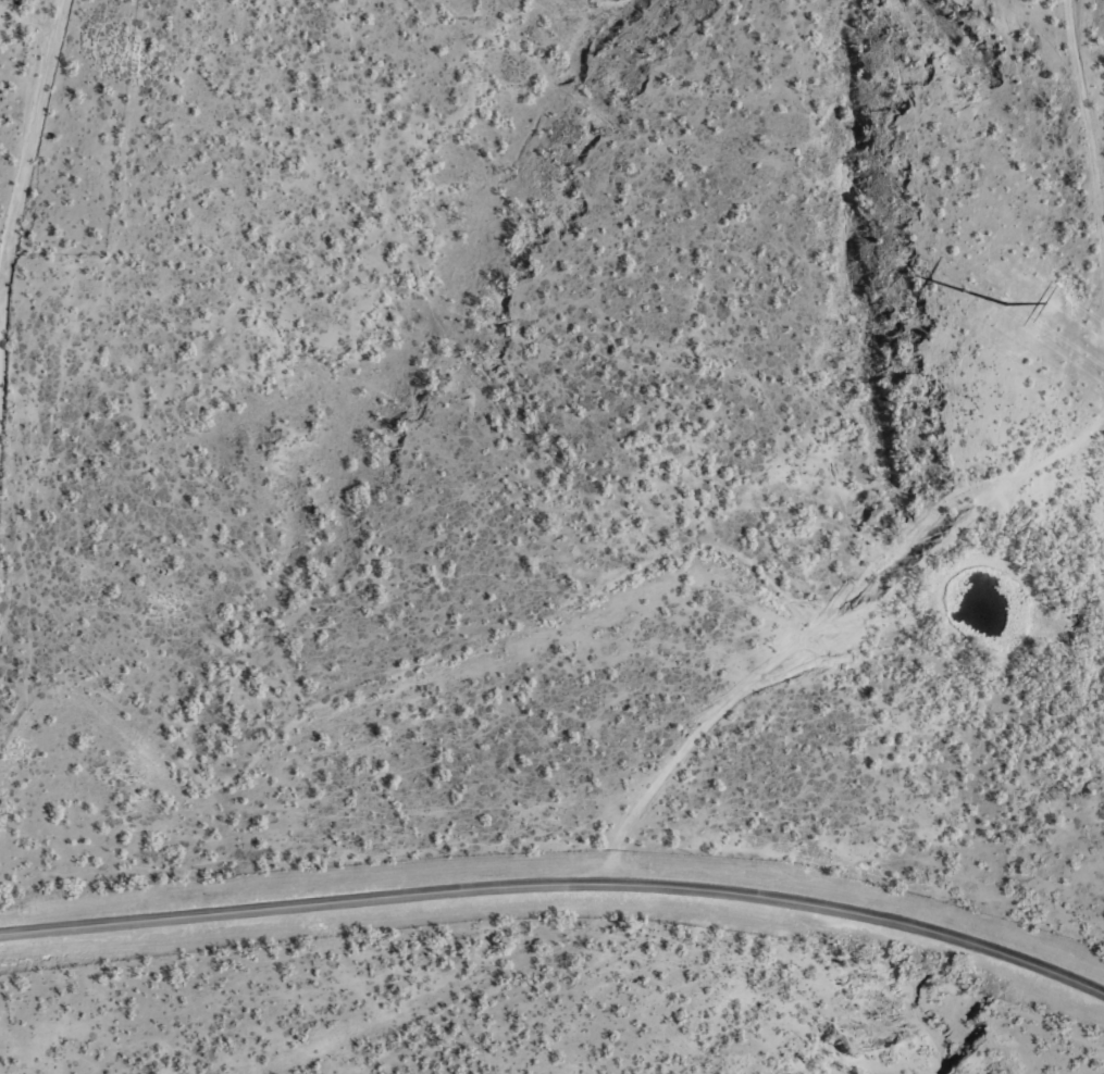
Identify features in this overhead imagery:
road: (28, 141)
power tower: (1006, 302)
road: (744, 692)
road: (558, 881)

